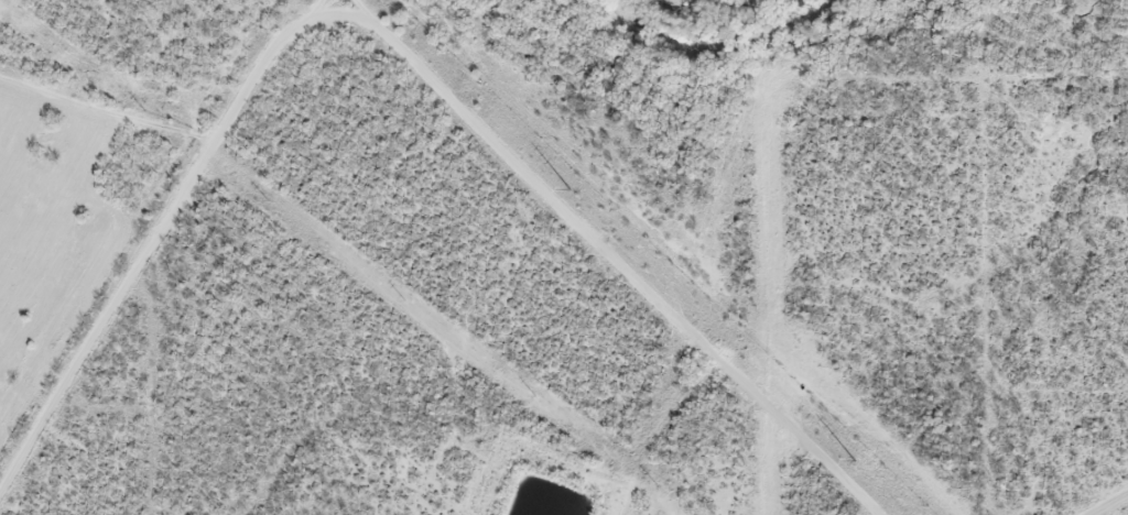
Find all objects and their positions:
power tower: (568, 190)
power tower: (854, 461)

